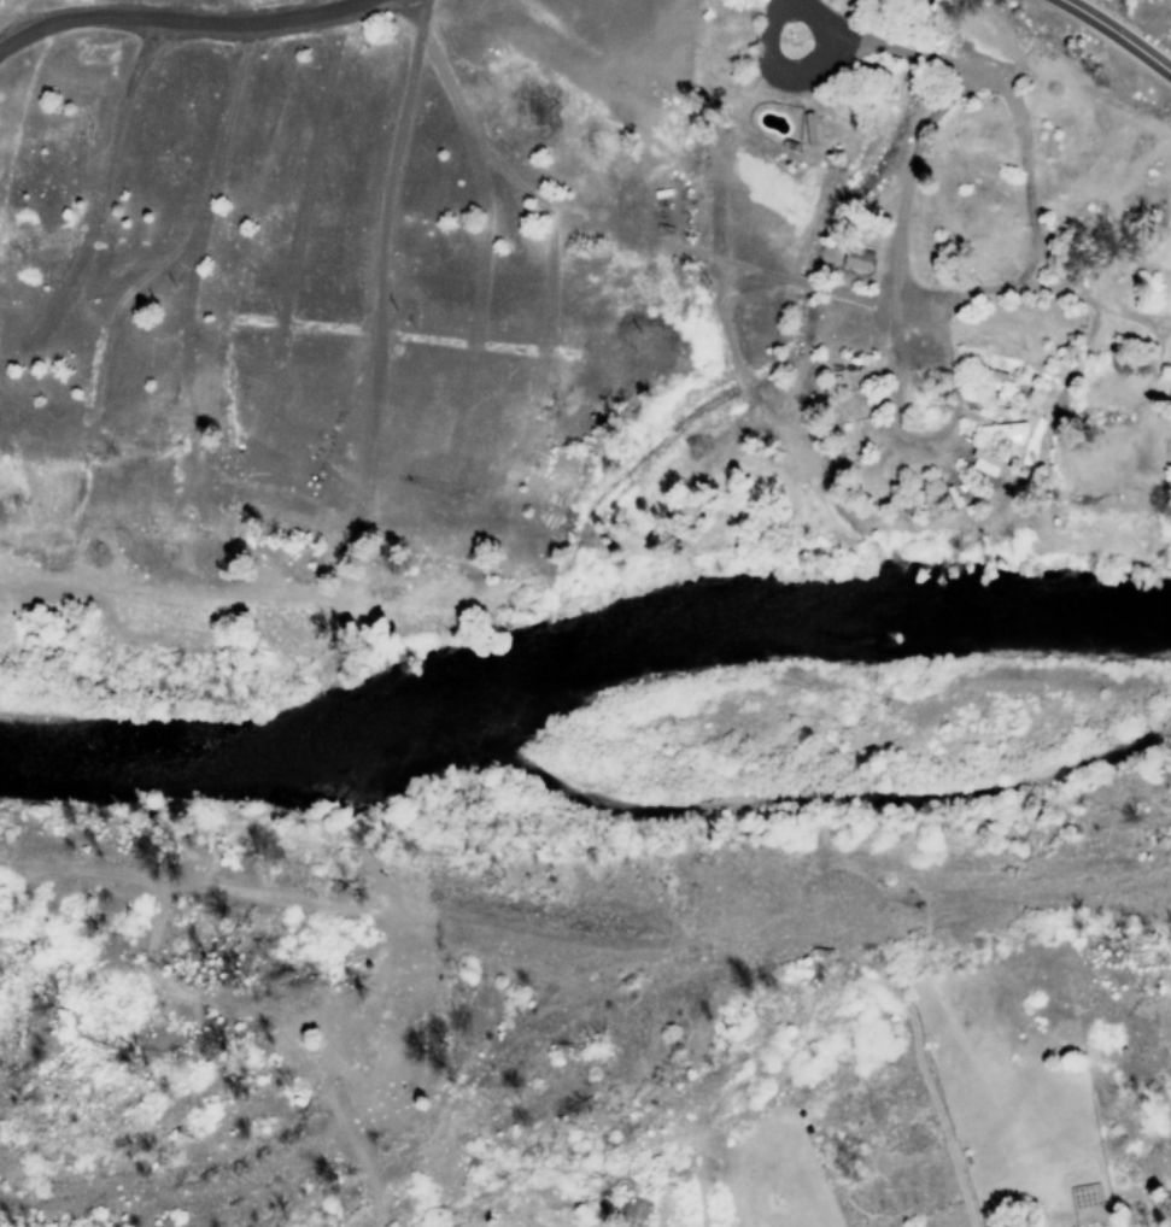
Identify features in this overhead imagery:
road: (1117, 34)
building: (859, 259)
power tower: (704, 288)
building: (1005, 431)
building: (986, 463)
river: (579, 647)

